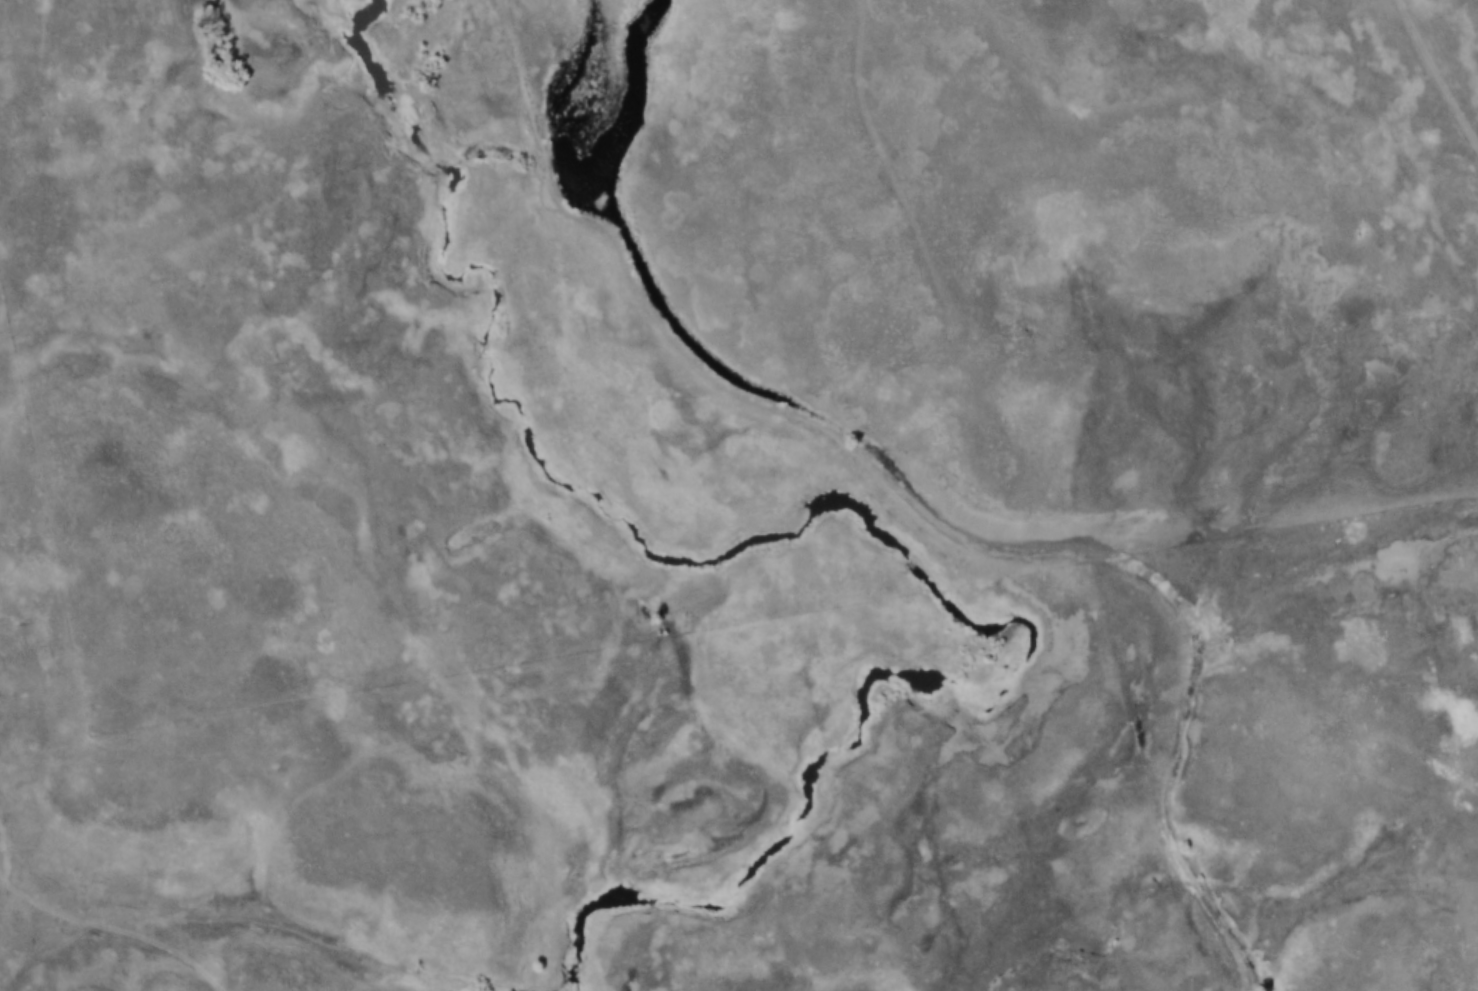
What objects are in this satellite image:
road: (1444, 68)

